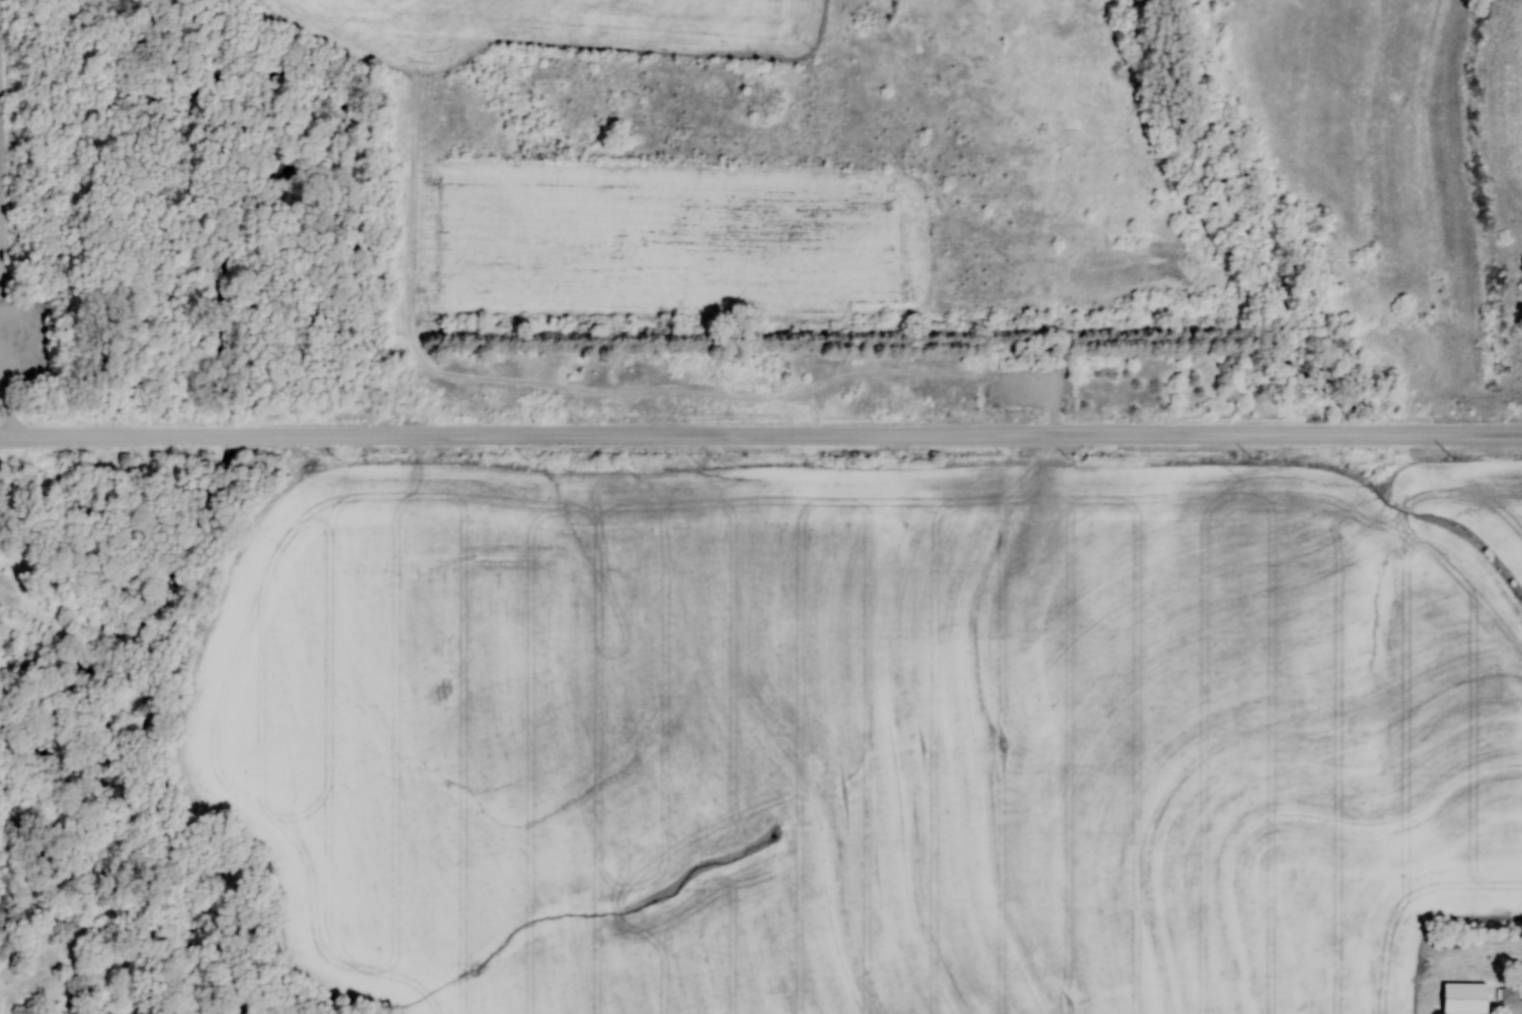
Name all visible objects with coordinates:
road: (0, 237)
road: (4, 347)
parking lot: (24, 348)
parking lot: (1022, 387)
road: (8, 414)
road: (1053, 422)
road: (760, 435)
building: (1509, 994)
building: (1463, 998)
road: (1520, 1012)

